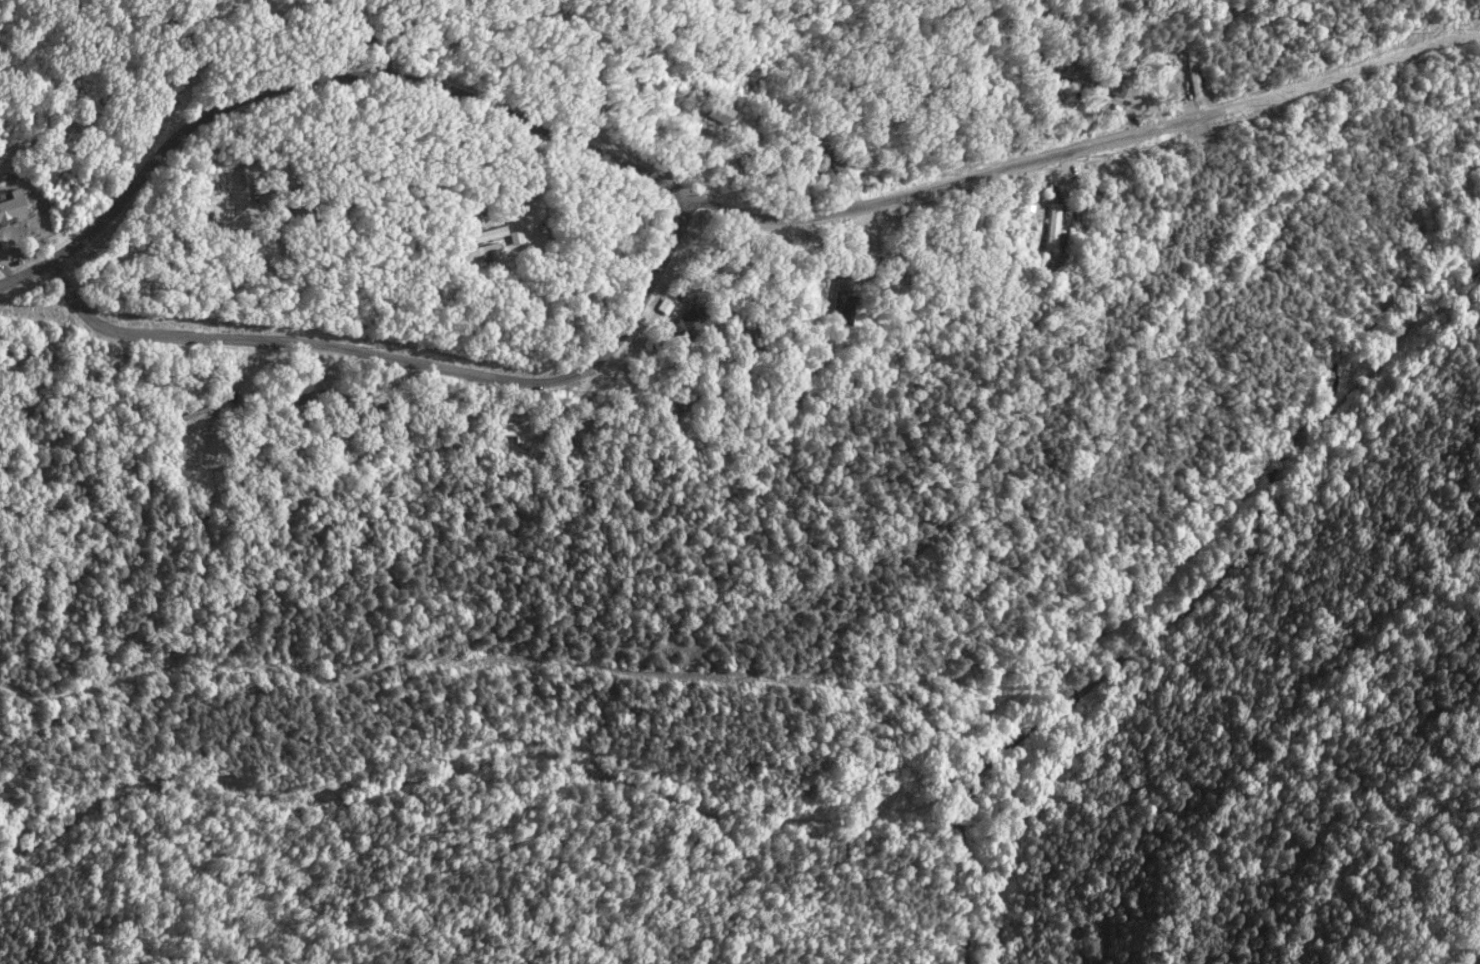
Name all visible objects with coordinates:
building: (718, 112)
road: (708, 200)
building: (10, 204)
building: (1052, 227)
building: (482, 235)
building: (475, 251)
building: (843, 305)
building: (687, 322)
road: (411, 361)
building: (516, 431)

